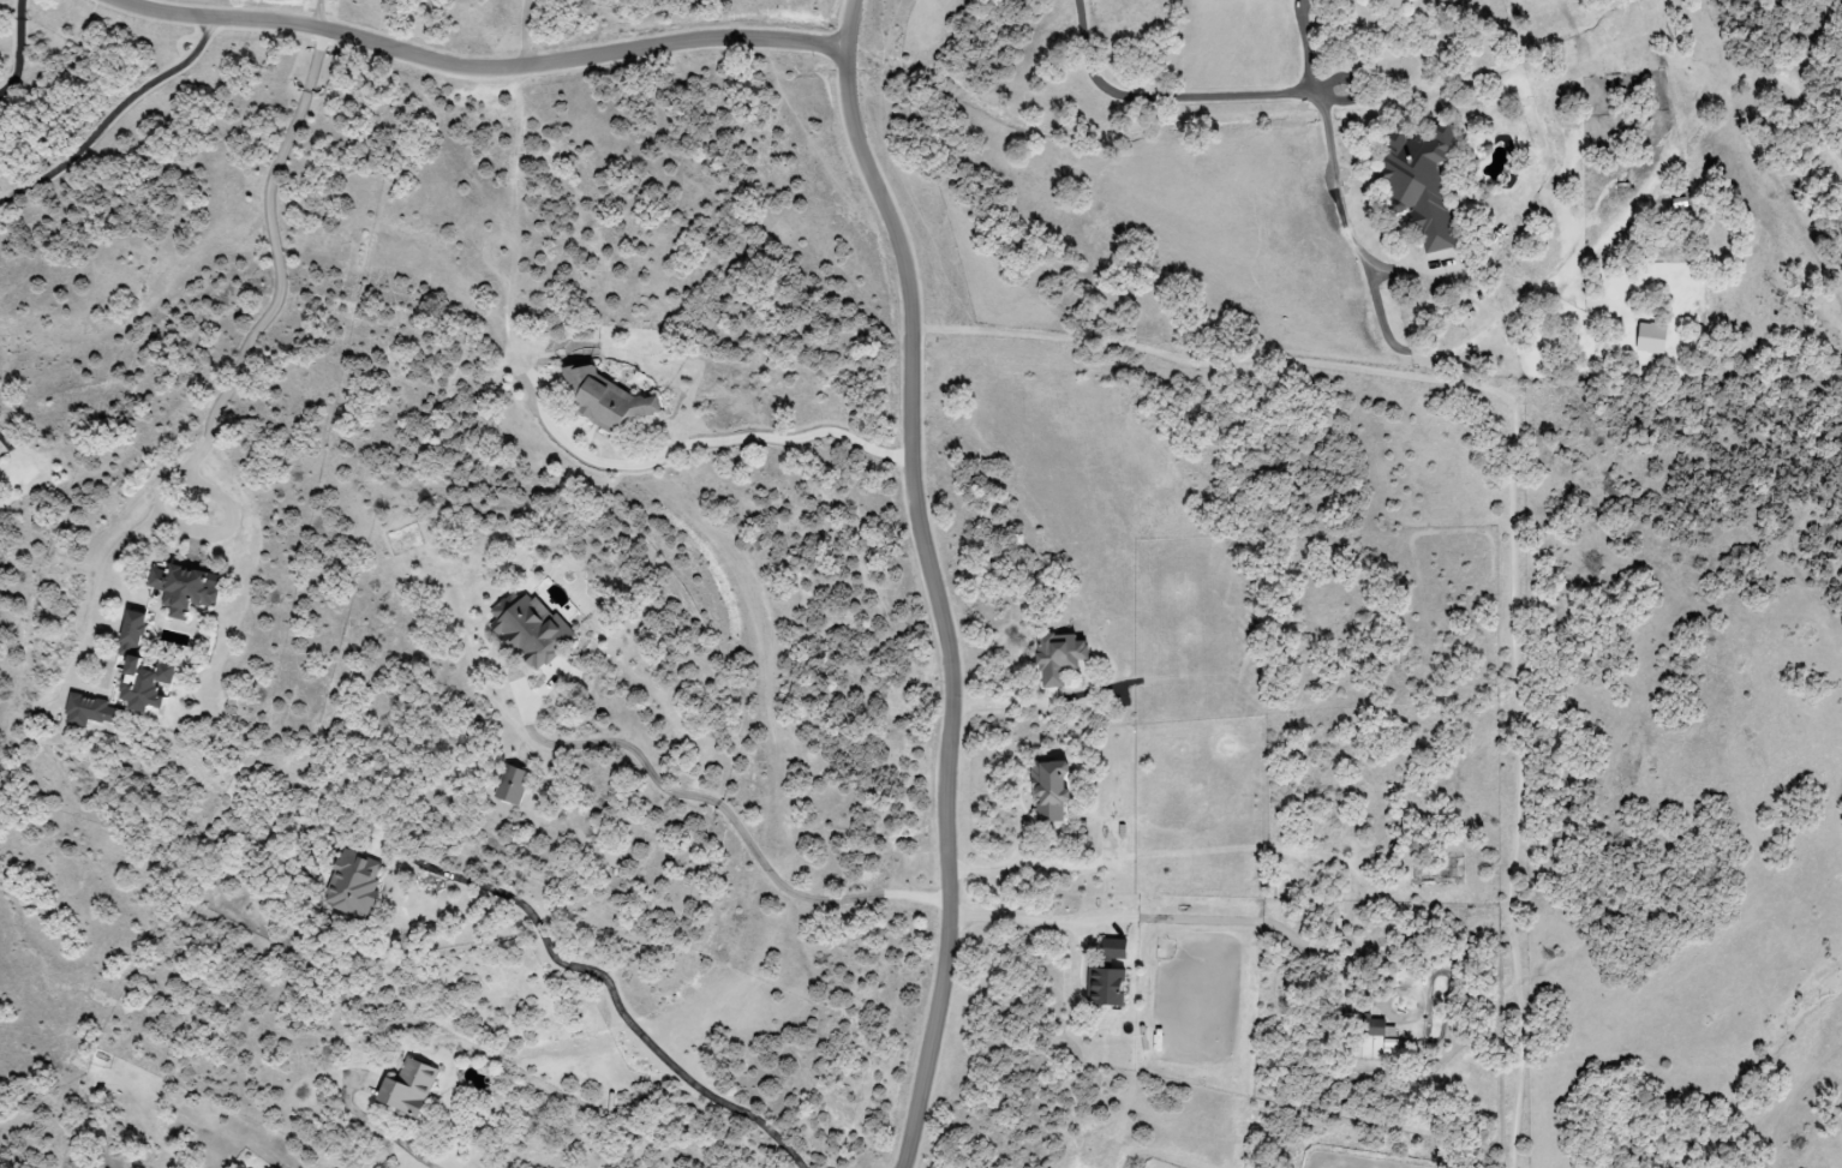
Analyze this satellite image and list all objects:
building: (1385, 4)
road: (850, 25)
road: (526, 35)
road: (1305, 42)
road: (17, 46)
road: (471, 73)
road: (1269, 86)
road: (108, 112)
building: (1419, 181)
road: (281, 288)
building: (1651, 339)
building: (604, 399)
road: (753, 438)
road: (6, 443)
road: (1509, 477)
building: (184, 587)
road: (939, 606)
building: (530, 629)
building: (1058, 658)
building: (139, 666)
building: (90, 711)
building: (510, 784)
building: (1048, 790)
road: (729, 817)
building: (353, 885)
road: (1227, 921)
road: (606, 987)
building: (1377, 1029)
building: (407, 1086)

